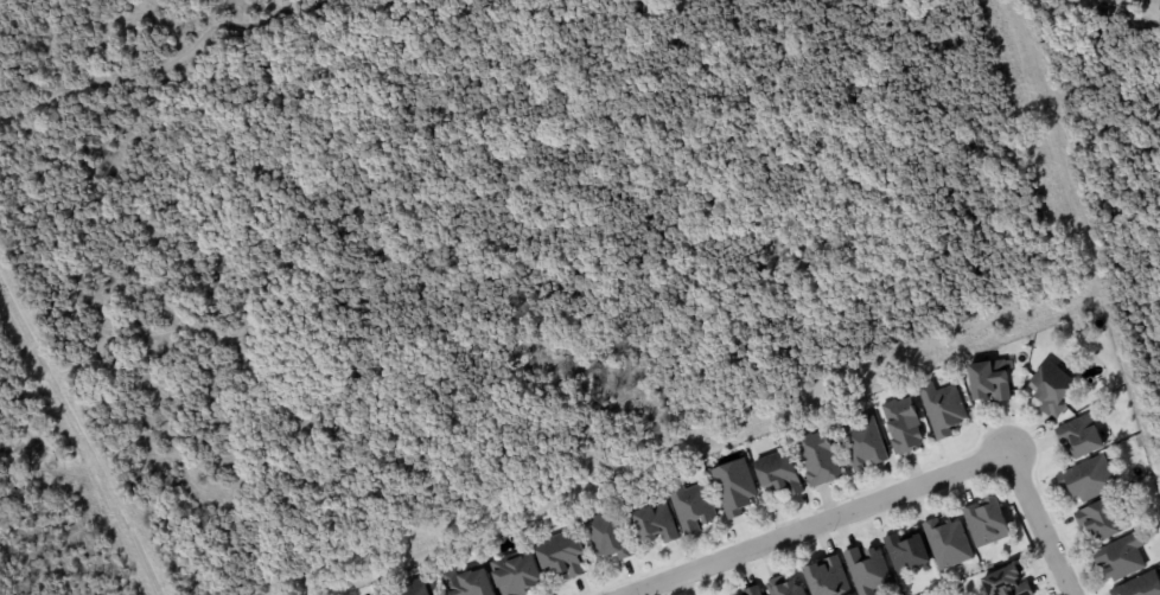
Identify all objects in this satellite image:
building: (1159, 11)
park: (474, 261)
building: (987, 380)
building: (1051, 389)
building: (941, 408)
building: (901, 426)
building: (1078, 436)
road: (77, 441)
building: (861, 442)
building: (817, 458)
building: (777, 473)
building: (1088, 479)
building: (732, 487)
road: (890, 499)
building: (689, 505)
building: (1101, 518)
building: (986, 522)
building: (651, 523)
building: (606, 535)
building: (945, 543)
building: (906, 551)
building: (557, 554)
building: (1121, 556)
building: (866, 570)
building: (515, 572)
building: (824, 577)
building: (467, 582)
building: (1006, 582)
building: (1139, 586)
building: (783, 587)
building: (410, 588)
building: (752, 590)

